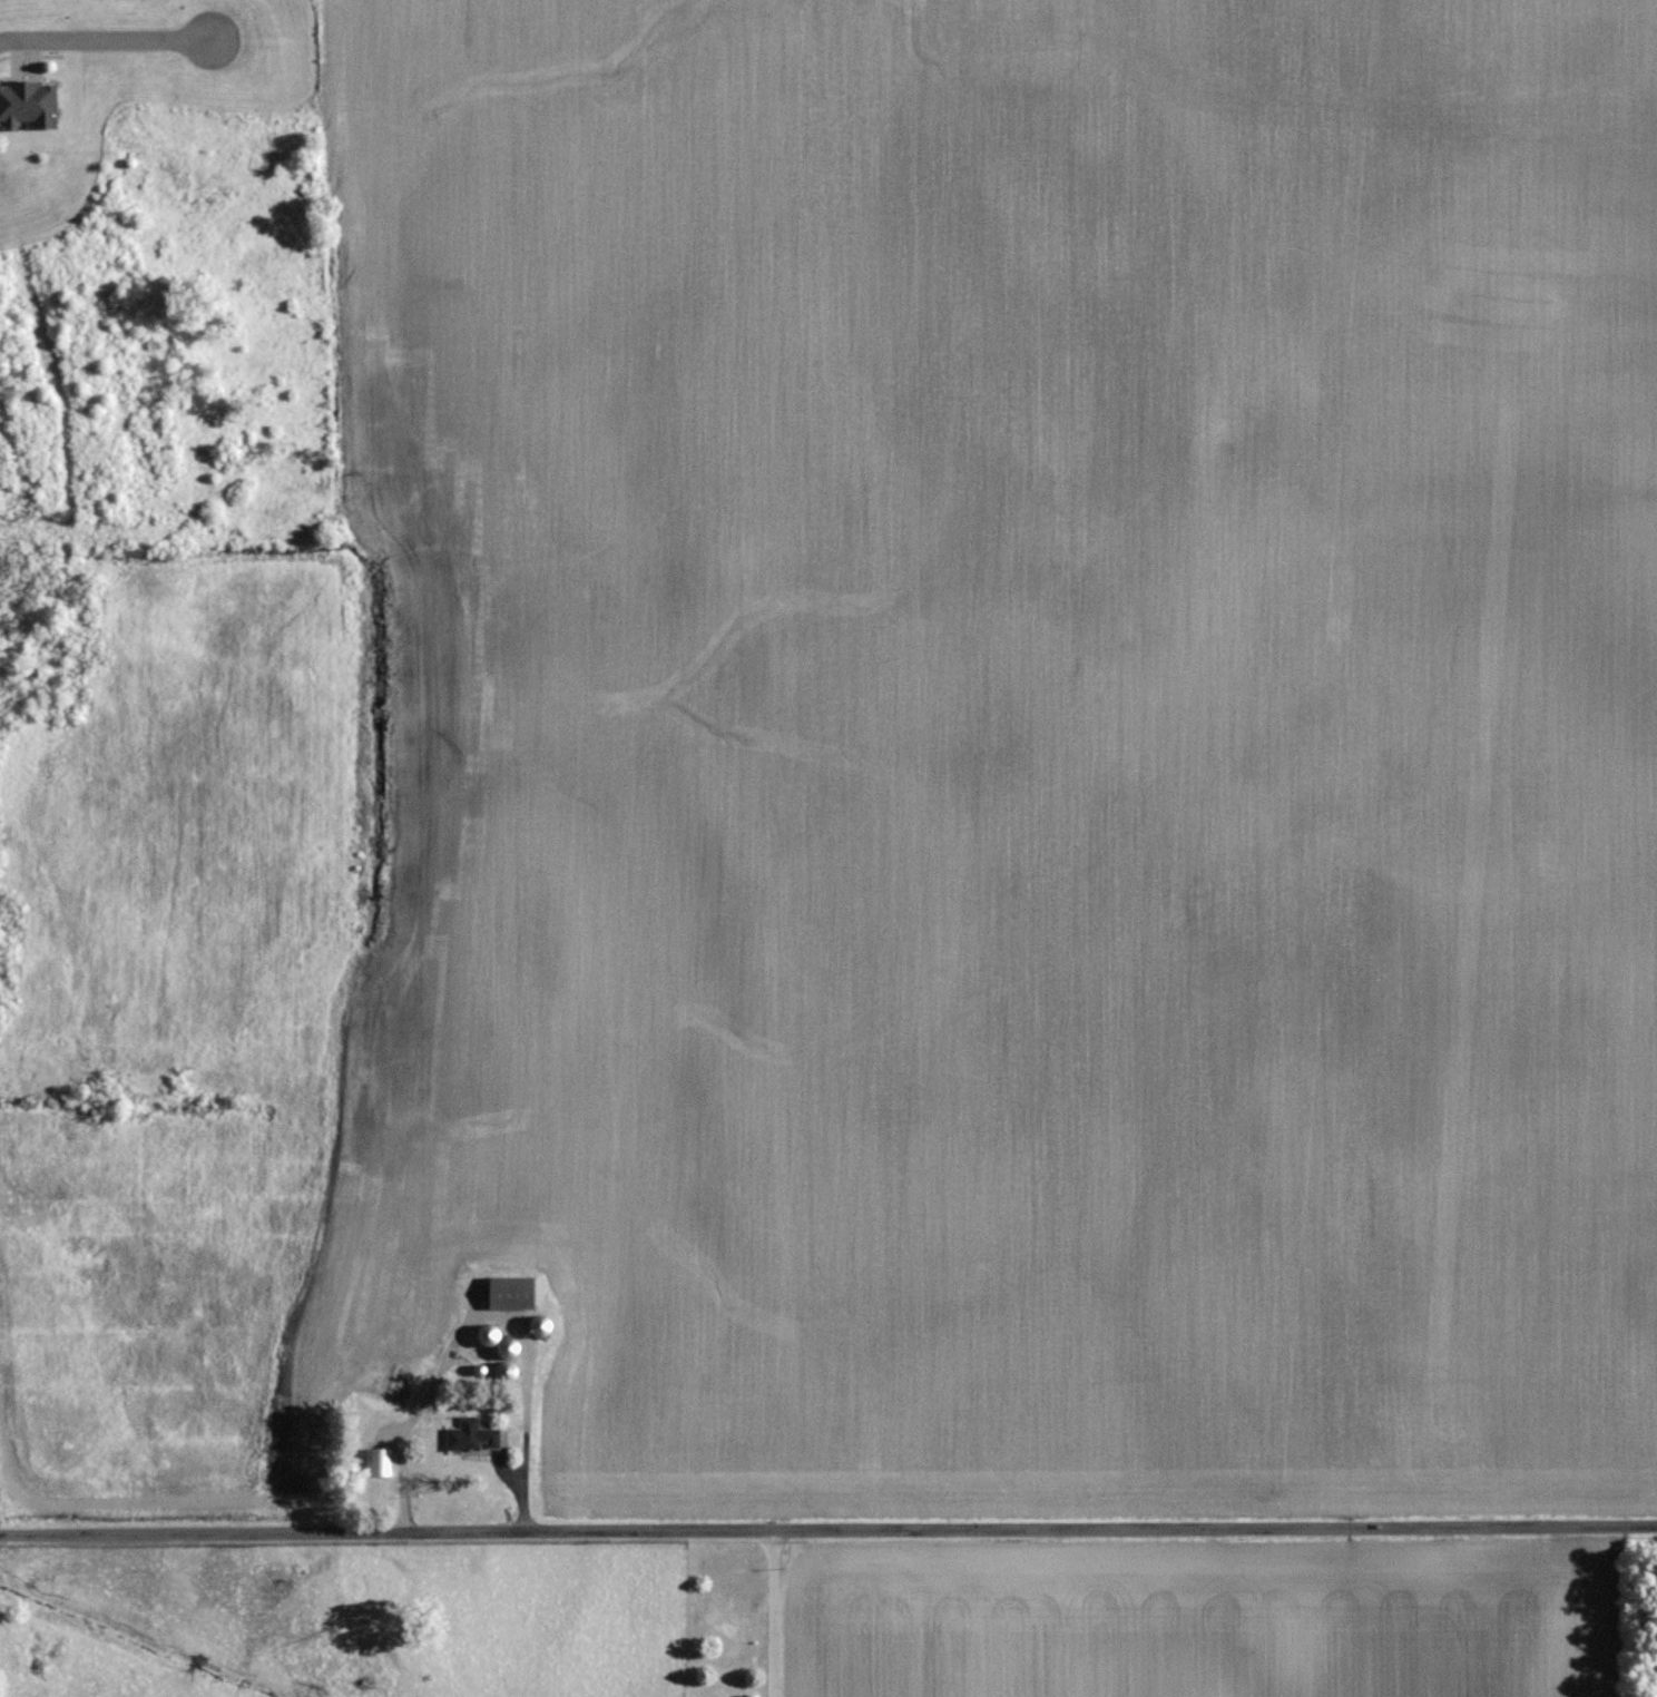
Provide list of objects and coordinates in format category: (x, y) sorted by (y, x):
road: (107, 38)
building: (27, 102)
building: (510, 1292)
building: (540, 1327)
building: (487, 1334)
building: (507, 1346)
building: (507, 1370)
building: (471, 1435)
building: (376, 1461)
road: (827, 1528)
road: (772, 1612)

